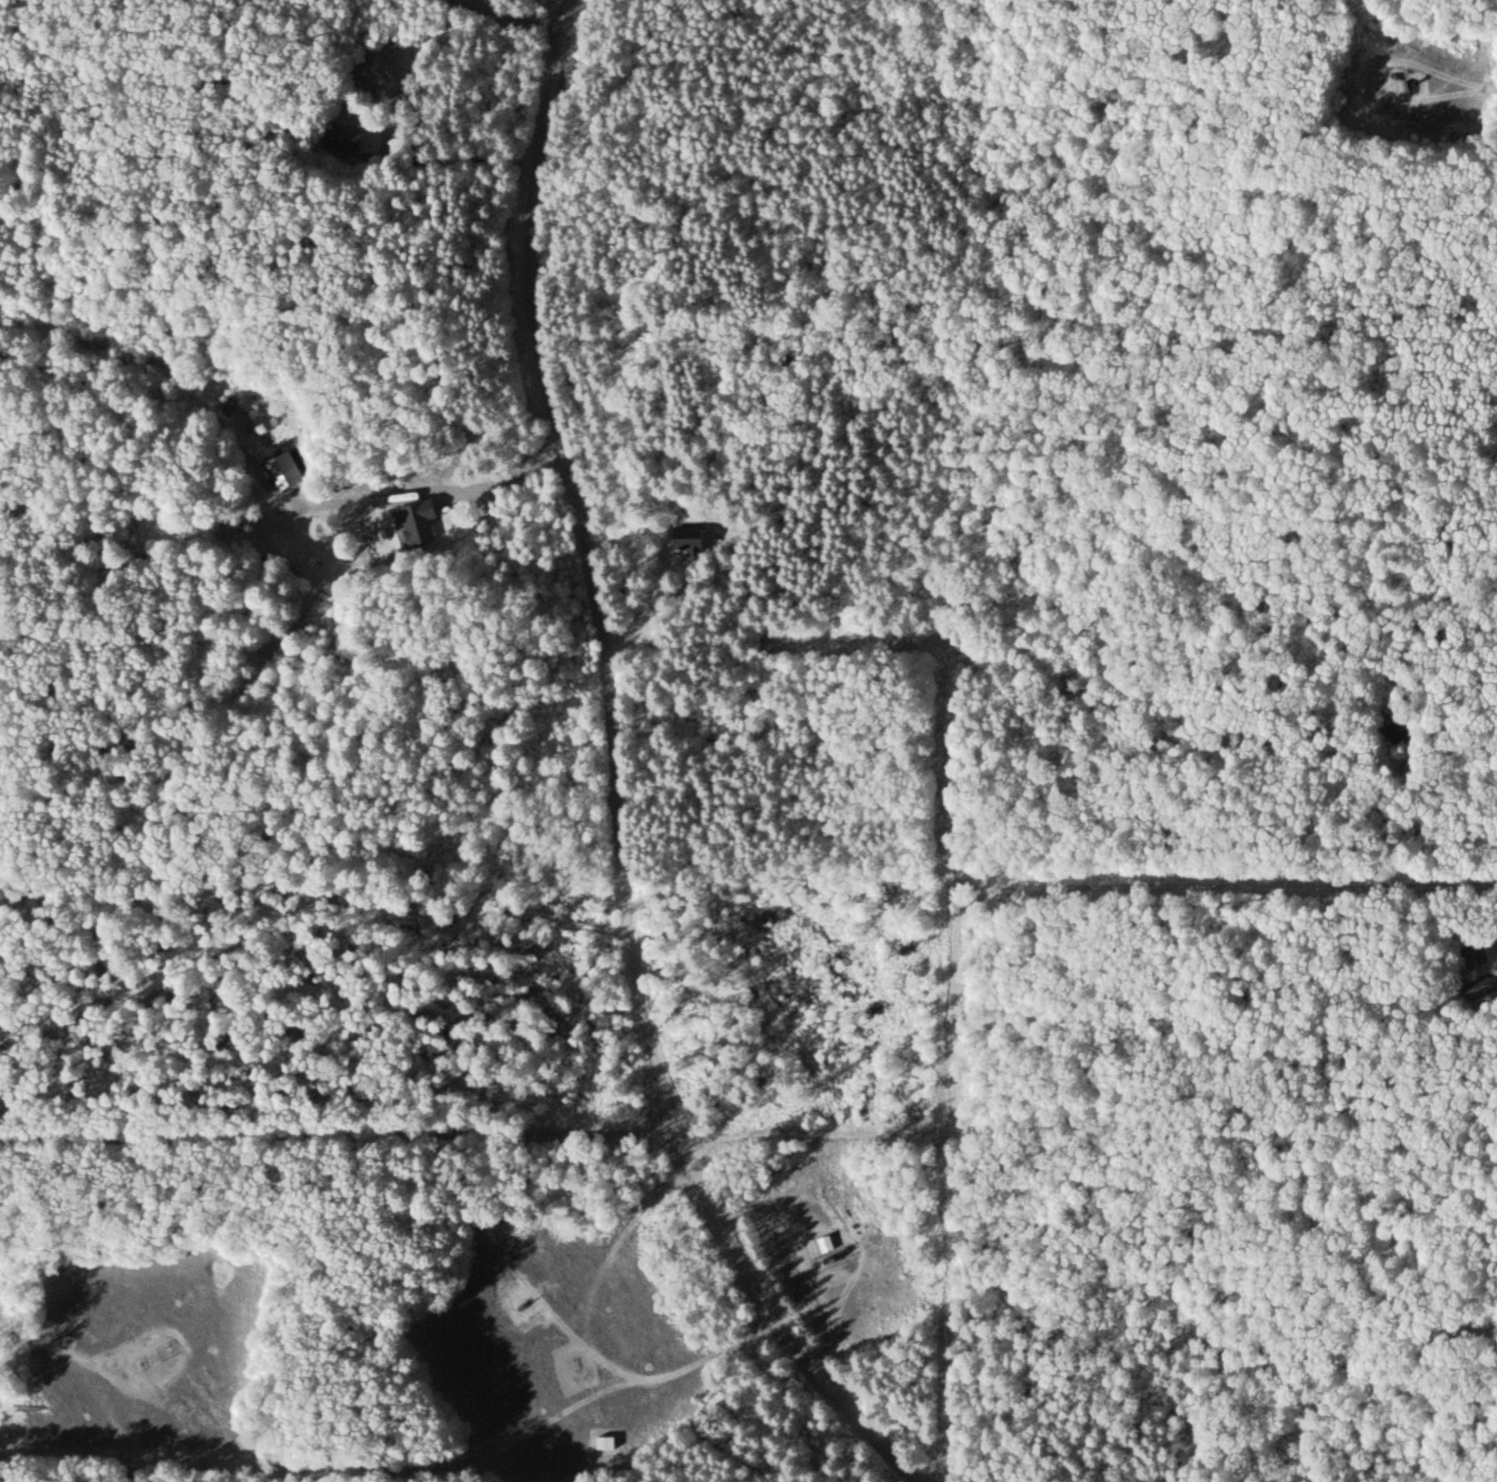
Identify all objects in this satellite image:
road: (506, 18)
road: (1378, 75)
road: (1495, 83)
building: (356, 137)
building: (418, 521)
building: (685, 535)
road: (619, 776)
building: (1472, 953)
road: (849, 1100)
petroleum well: (826, 1255)
petroleum well: (524, 1305)
road: (53, 1346)
petroleum well: (150, 1357)
building: (161, 1371)
road: (152, 1429)
building: (606, 1440)

